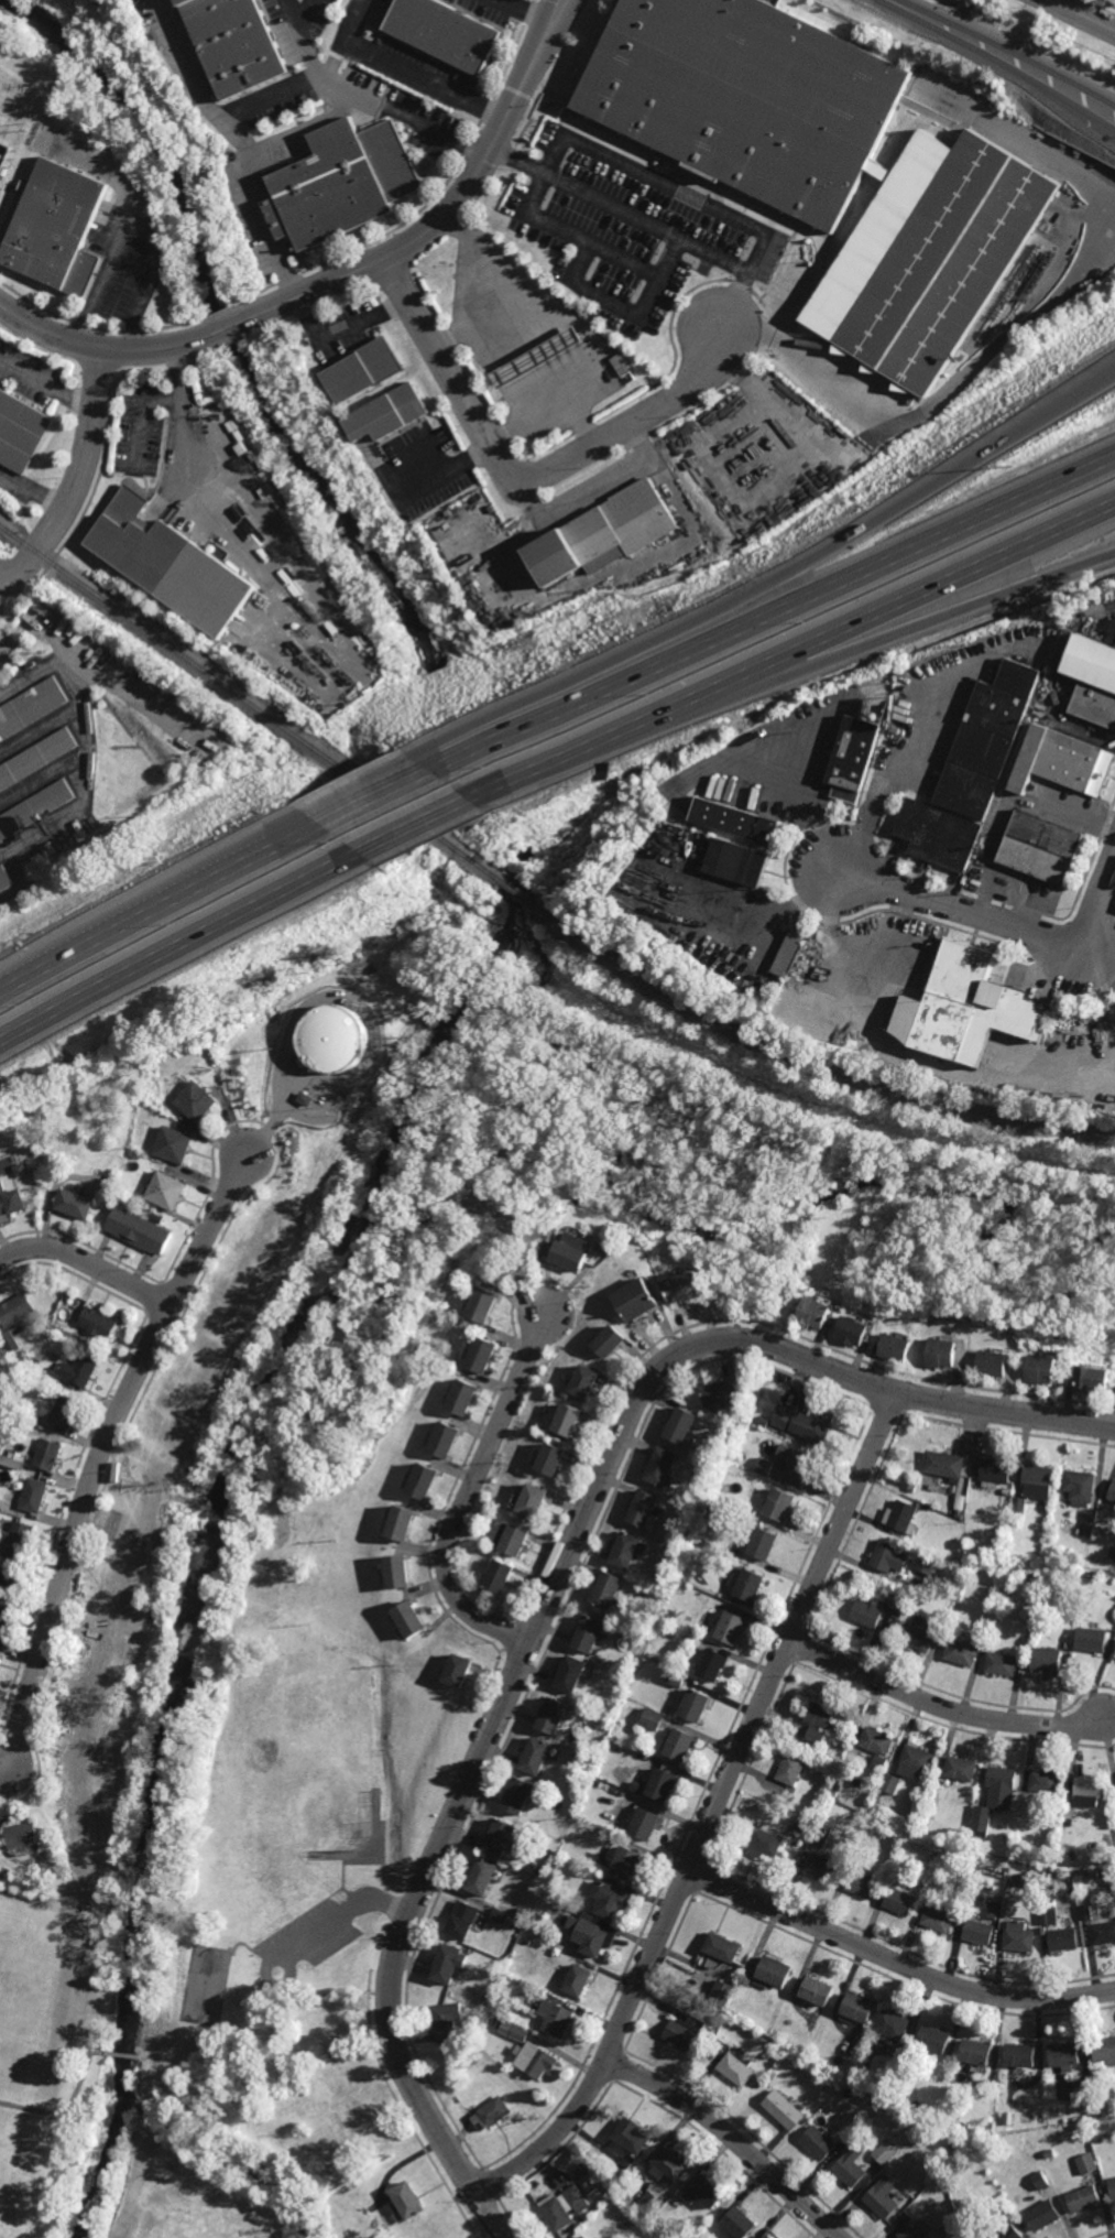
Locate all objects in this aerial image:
road: (293, 10)
road: (305, 10)
road: (528, 11)
road: (556, 11)
road: (564, 11)
road: (1081, 15)
building: (448, 33)
building: (237, 44)
road: (1003, 54)
road: (413, 69)
building: (747, 98)
road: (379, 102)
road: (307, 129)
building: (343, 181)
road: (665, 185)
road: (445, 215)
road: (649, 222)
road: (266, 226)
building: (58, 227)
road: (134, 227)
road: (598, 241)
building: (928, 254)
road: (841, 282)
road: (609, 295)
road: (1014, 325)
road: (233, 326)
road: (103, 350)
building: (538, 358)
building: (363, 370)
road: (48, 381)
road: (158, 400)
building: (391, 413)
road: (791, 422)
building: (21, 431)
road: (445, 471)
road: (81, 482)
road: (525, 482)
road: (33, 492)
building: (601, 534)
building: (168, 564)
road: (1, 577)
road: (777, 582)
road: (1113, 607)
road: (776, 615)
road: (937, 617)
road: (320, 632)
building: (1112, 635)
road: (795, 650)
building: (1092, 681)
railway: (251, 702)
building: (32, 708)
road: (1082, 729)
building: (1015, 748)
building: (853, 754)
building: (37, 758)
road: (889, 776)
road: (381, 796)
road: (1007, 805)
building: (36, 807)
road: (810, 810)
building: (739, 815)
road: (418, 827)
building: (938, 834)
building: (1041, 845)
building: (741, 857)
road: (239, 866)
building: (6, 878)
road: (1019, 889)
railway: (527, 899)
road: (776, 917)
road: (997, 922)
road: (178, 945)
road: (76, 953)
building: (789, 953)
building: (975, 1003)
building: (337, 1040)
storage tank: (337, 1040)
railway: (818, 1066)
building: (307, 1099)
building: (197, 1100)
building: (26, 1106)
building: (144, 1125)
road: (786, 1142)
building: (175, 1143)
building: (21, 1170)
building: (168, 1189)
building: (11, 1199)
building: (76, 1201)
building: (160, 1217)
building: (141, 1229)
building: (573, 1252)
road: (88, 1262)
building: (496, 1282)
building: (689, 1288)
building: (640, 1301)
building: (483, 1305)
building: (818, 1314)
building: (15, 1318)
building: (100, 1323)
building: (855, 1333)
building: (980, 1339)
building: (613, 1344)
building: (429, 1349)
building: (899, 1349)
building: (947, 1355)
building: (483, 1356)
building: (998, 1366)
building: (81, 1370)
building: (1046, 1370)
building: (1097, 1381)
building: (589, 1383)
building: (723, 1394)
building: (549, 1397)
building: (463, 1399)
road: (932, 1399)
building: (17, 1411)
building: (65, 1411)
building: (762, 1421)
building: (805, 1422)
building: (571, 1423)
building: (684, 1426)
building: (445, 1442)
building: (48, 1454)
road: (102, 1454)
building: (11, 1462)
building: (554, 1463)
building: (797, 1464)
building: (945, 1466)
building: (765, 1467)
building: (664, 1469)
building: (997, 1473)
building: (1039, 1482)
building: (423, 1484)
building: (1080, 1487)
building: (1112, 1491)
building: (34, 1495)
road: (469, 1496)
building: (534, 1503)
building: (961, 1503)
building: (780, 1506)
building: (1019, 1507)
building: (646, 1512)
building: (904, 1519)
building: (403, 1523)
building: (1086, 1523)
building: (472, 1532)
building: (19, 1536)
building: (762, 1542)
building: (513, 1543)
building: (1112, 1552)
building: (627, 1553)
building: (1024, 1554)
building: (890, 1556)
building: (929, 1561)
building: (403, 1568)
building: (1087, 1574)
building: (11, 1576)
building: (501, 1576)
building: (748, 1580)
building: (881, 1585)
building: (605, 1588)
building: (877, 1606)
building: (416, 1616)
building: (4, 1617)
building: (686, 1620)
building: (728, 1622)
building: (589, 1629)
building: (678, 1629)
building: (922, 1631)
building: (426, 1634)
building: (1091, 1638)
building: (983, 1639)
building: (0, 1649)
building: (962, 1651)
building: (0, 1654)
building: (709, 1659)
building: (1046, 1659)
building: (1003, 1662)
building: (459, 1667)
building: (571, 1670)
building: (674, 1675)
building: (692, 1701)
road: (940, 1706)
building: (553, 1712)
building: (821, 1714)
building: (651, 1716)
building: (817, 1734)
building: (877, 1740)
building: (677, 1741)
building: (535, 1752)
road: (482, 1756)
building: (917, 1759)
building: (791, 1768)
building: (961, 1768)
park: (293, 1771)
building: (1046, 1780)
building: (663, 1781)
building: (893, 1783)
building: (637, 1784)
building: (840, 1784)
building: (1086, 1790)
building: (586, 1792)
building: (516, 1793)
building: (997, 1795)
building: (375, 1797)
road: (713, 1813)
building: (645, 1822)
building: (24, 1834)
building: (821, 1834)
building: (501, 1838)
building: (1007, 1838)
building: (1051, 1839)
building: (764, 1843)
building: (320, 1853)
building: (626, 1861)
building: (538, 1868)
building: (821, 1868)
building: (481, 1875)
building: (1098, 1875)
road: (343, 1878)
building: (1015, 1879)
building: (861, 1883)
building: (1026, 1884)
building: (918, 1888)
building: (964, 1888)
road: (351, 1895)
building: (610, 1898)
building: (11, 1899)
building: (899, 1900)
building: (994, 1911)
road: (342, 1913)
building: (498, 1914)
building: (1050, 1916)
building: (461, 1919)
building: (939, 1919)
building: (1098, 1923)
building: (592, 1932)
building: (980, 1932)
parking lot: (313, 1934)
building: (1019, 1937)
building: (1063, 1938)
road: (241, 1944)
building: (723, 1947)
park: (225, 1953)
road: (265, 1954)
road: (895, 1962)
building: (447, 1963)
road: (265, 1970)
building: (774, 1973)
building: (748, 1977)
building: (577, 1979)
park: (206, 1985)
road: (226, 1987)
building: (818, 1991)
building: (722, 1993)
park: (35, 1995)
road: (299, 1997)
building: (857, 2009)
building: (555, 2017)
building: (496, 2021)
building: (444, 2022)
building: (894, 2024)
building: (513, 2031)
building: (686, 2032)
building: (776, 2032)
road: (182, 2039)
building: (469, 2040)
building: (936, 2040)
building: (1105, 2051)
building: (977, 2053)
building: (818, 2055)
building: (1023, 2055)
road: (124, 2056)
building: (1067, 2056)
building: (534, 2058)
building: (737, 2069)
building: (775, 2075)
road: (67, 2109)
building: (785, 2110)
building: (489, 2114)
building: (963, 2127)
building: (633, 2137)
road: (730, 2138)
building: (846, 2140)
building: (819, 2143)
building: (957, 2145)
building: (885, 2152)
building: (1050, 2153)
building: (1086, 2163)
building: (673, 2165)
building: (851, 2166)
park: (20, 2175)
building: (1041, 2181)
building: (1113, 2187)
building: (707, 2193)
building: (884, 2198)
building: (1084, 2199)
building: (407, 2204)
building: (651, 2204)
building: (565, 2206)
building: (1009, 2214)
building: (1045, 2215)
building: (741, 2224)
building: (630, 2225)
building: (910, 2230)
building: (1010, 2232)
building: (581, 2237)
building: (769, 2237)

